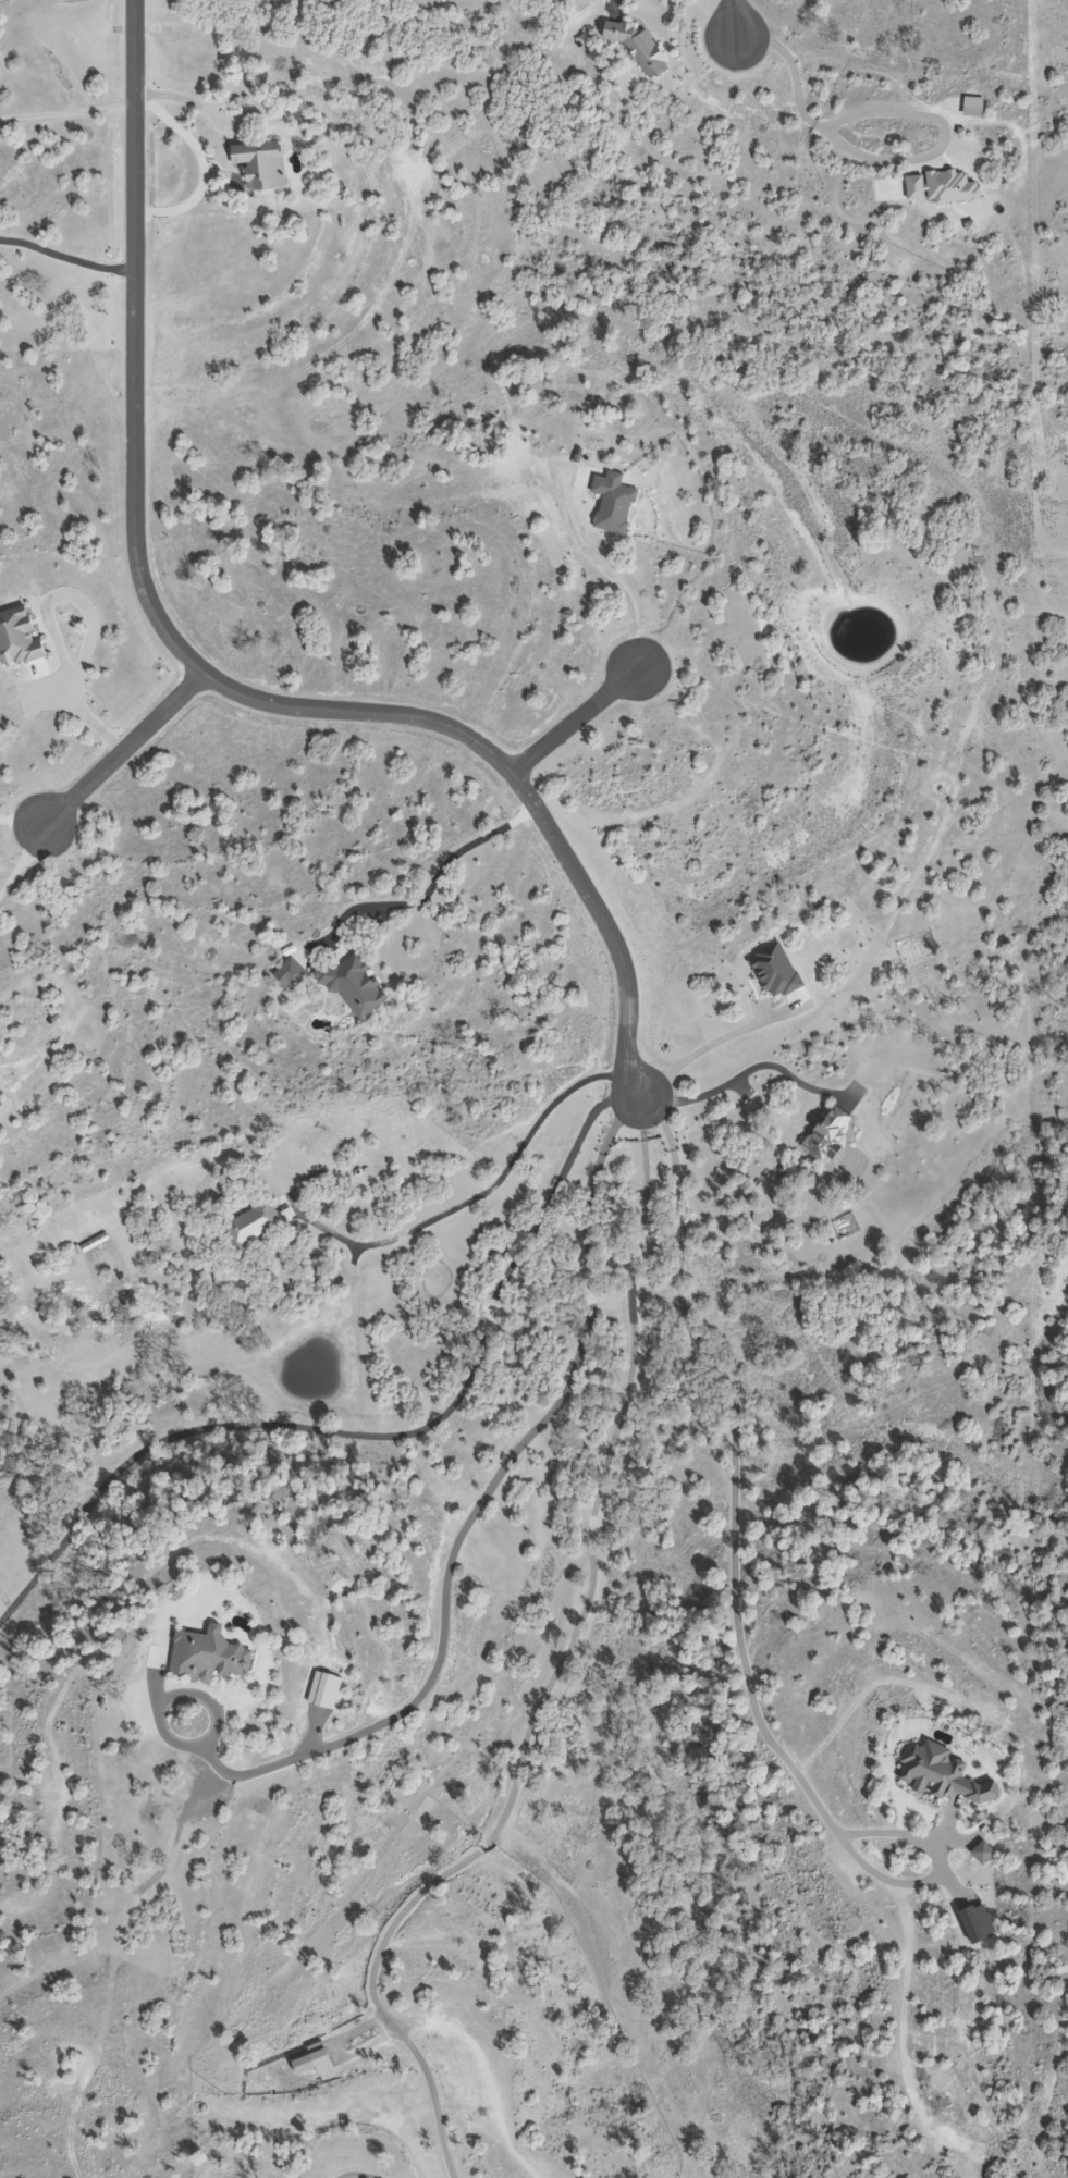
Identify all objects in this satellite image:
road: (617, 3)
road: (735, 20)
building: (642, 47)
road: (184, 102)
road: (895, 107)
road: (66, 113)
building: (267, 164)
road: (204, 169)
road: (66, 249)
building: (619, 503)
road: (614, 574)
road: (54, 615)
building: (22, 638)
road: (202, 675)
road: (575, 721)
road: (124, 748)
road: (23, 859)
road: (438, 876)
building: (294, 973)
building: (358, 985)
road: (696, 1049)
road: (740, 1070)
building: (1, 1098)
building: (832, 1134)
road: (481, 1191)
road: (379, 1436)
road: (472, 1513)
road: (741, 1592)
building: (211, 1656)
road: (561, 1674)
building: (948, 1775)
building: (326, 2055)
road: (359, 2174)

